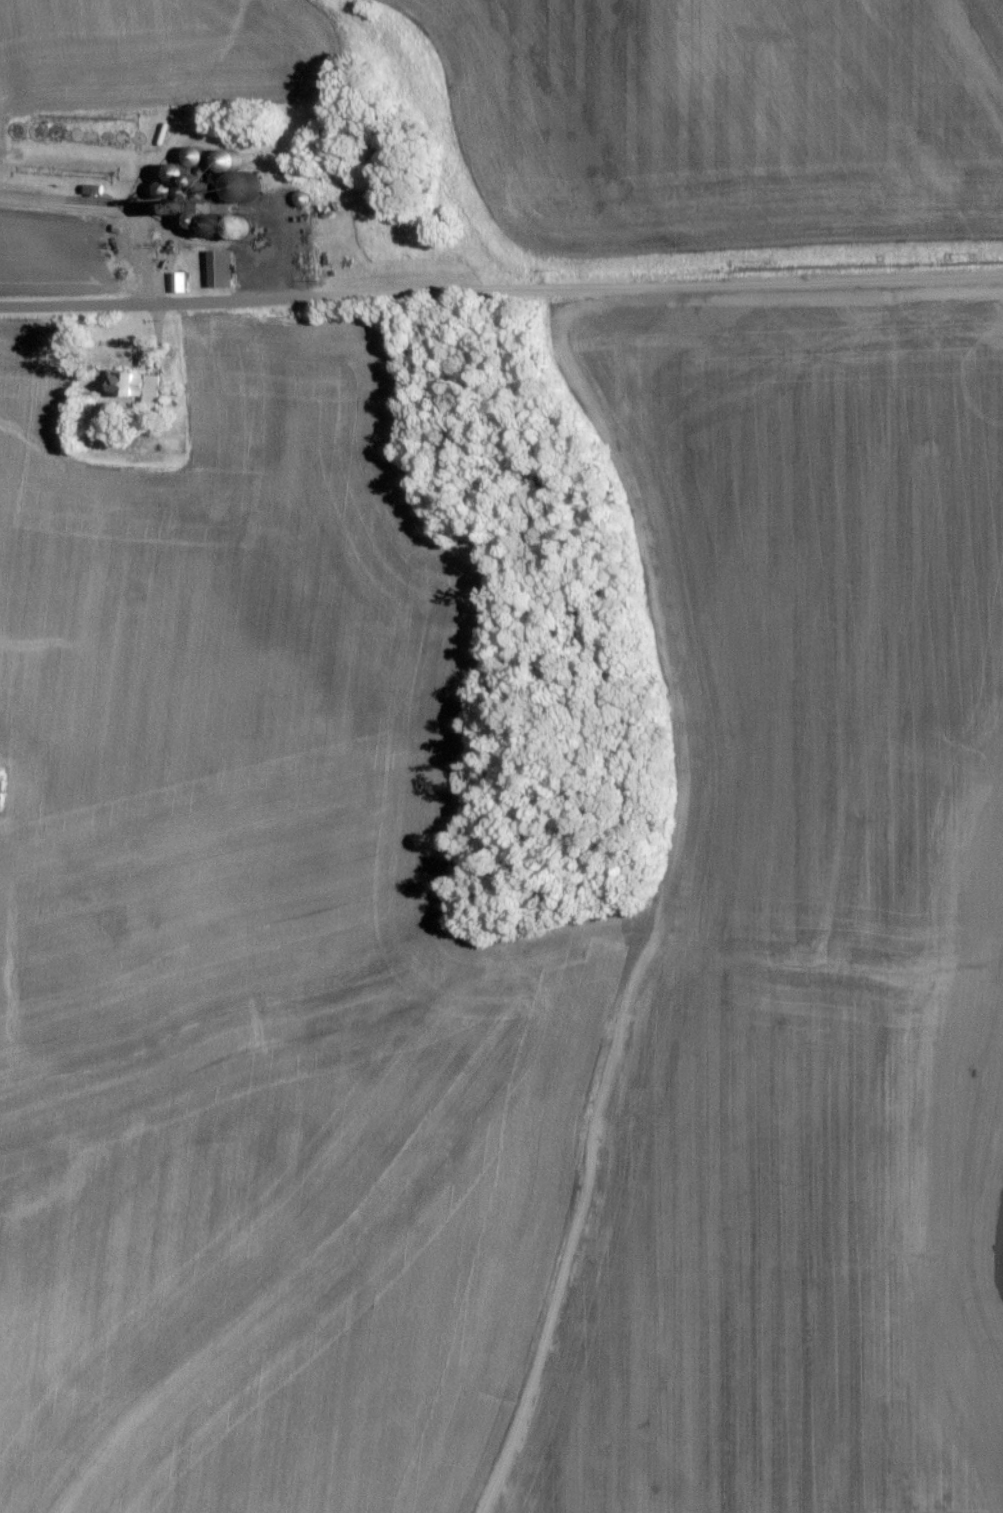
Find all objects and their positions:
road: (128, 208)
building: (222, 274)
road: (501, 293)
road: (152, 342)
building: (150, 394)

